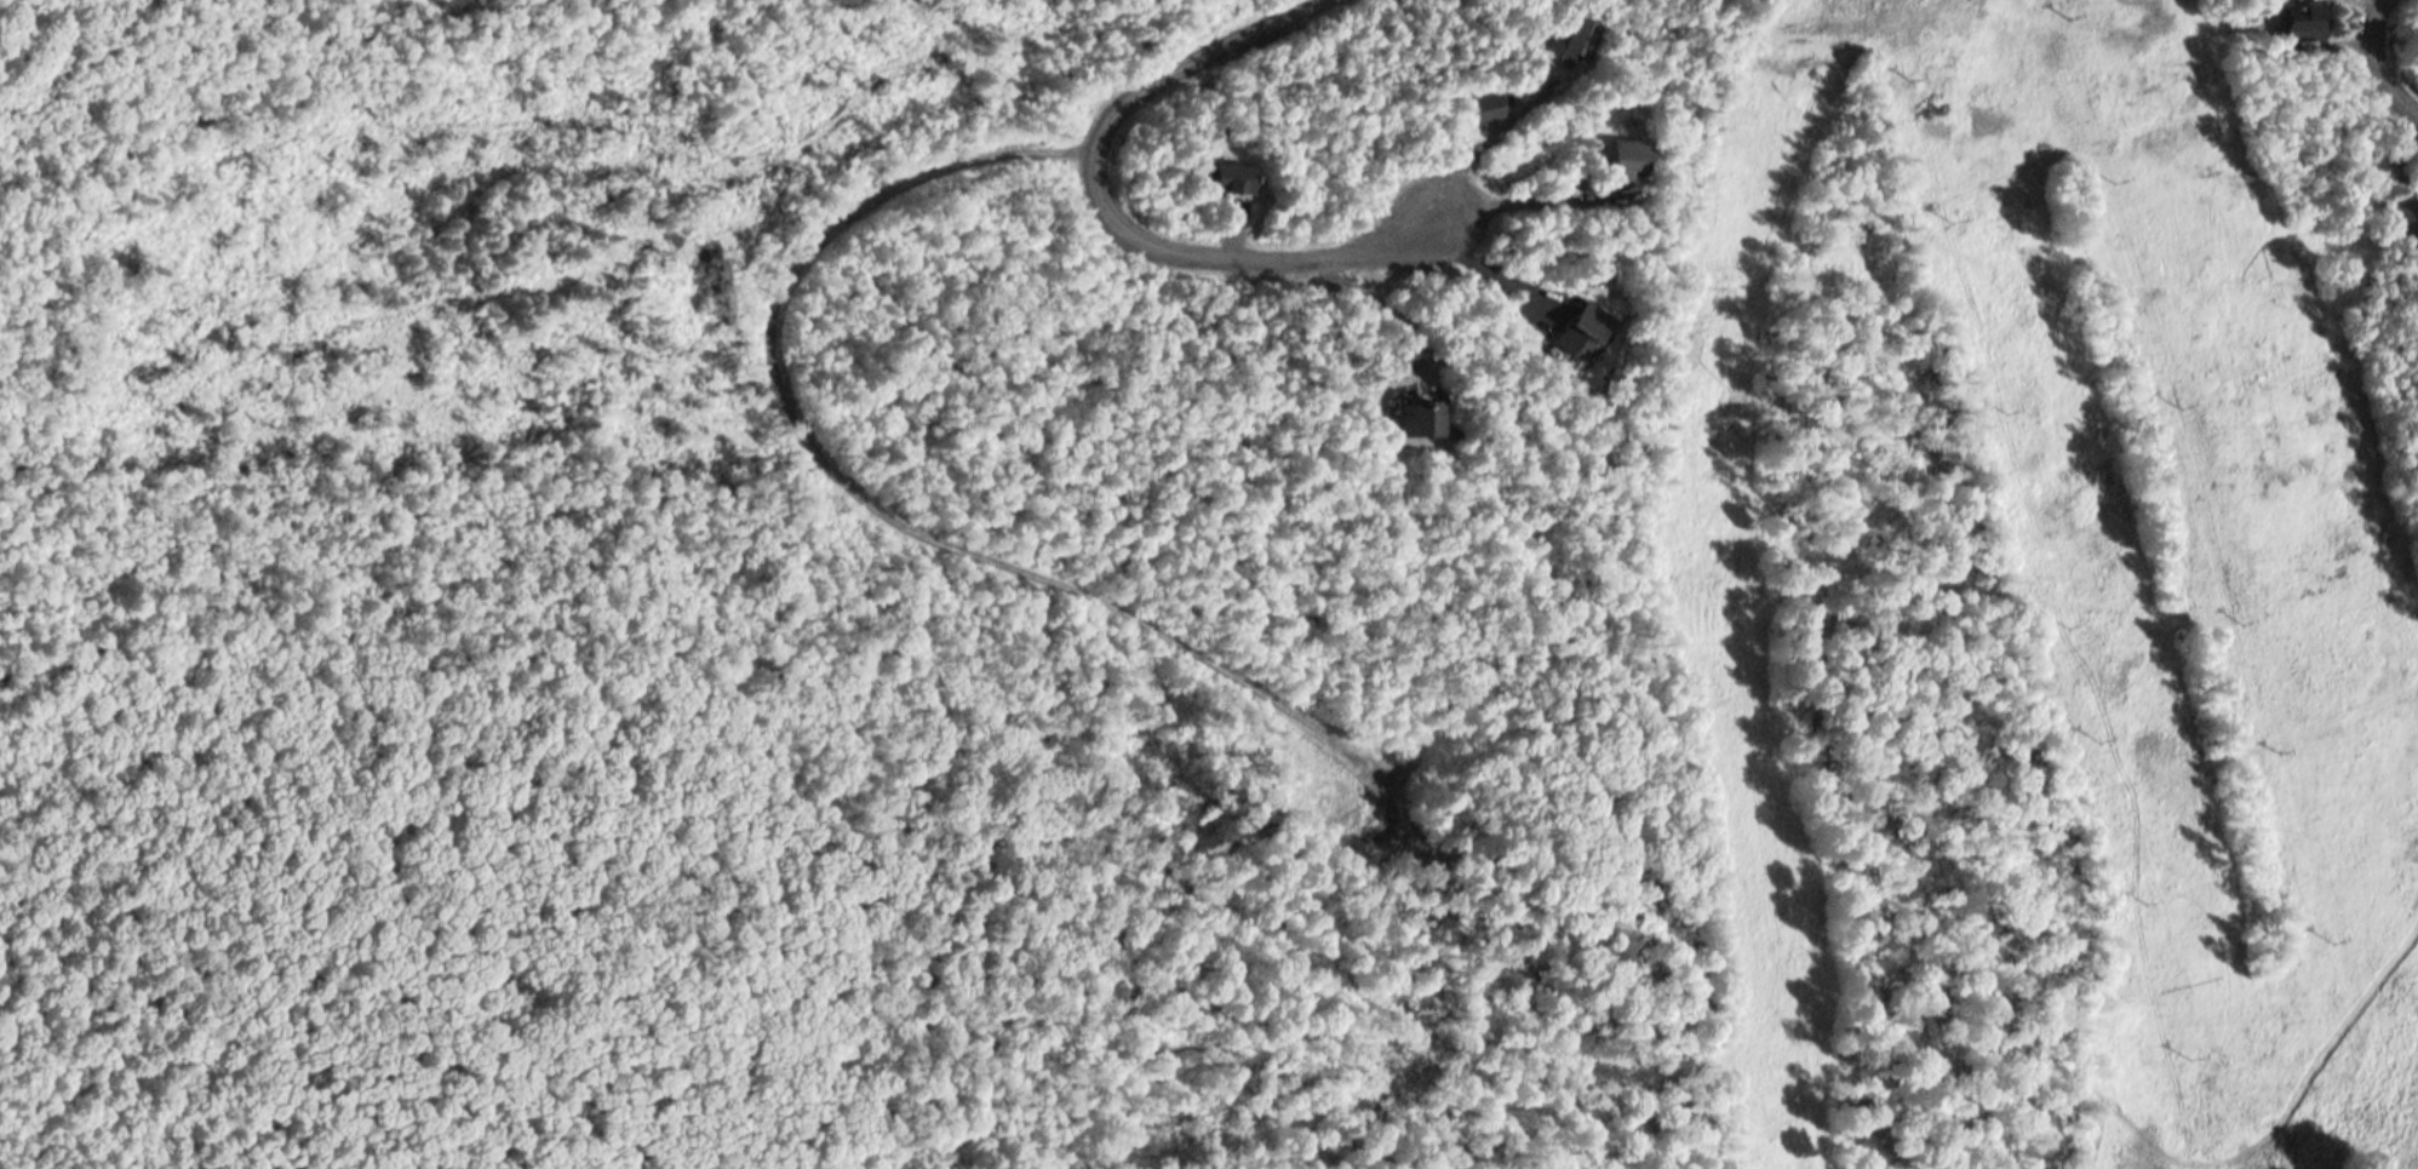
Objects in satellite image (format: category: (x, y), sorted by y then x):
aerialway pylon: (2069, 19)
building: (2300, 27)
building: (1574, 40)
road: (2378, 57)
aerialway pylon: (1914, 81)
building: (1625, 164)
aerialway pylon: (2115, 180)
building: (1231, 183)
road: (1119, 213)
building: (2402, 219)
aerialway pylon: (1954, 220)
building: (1586, 331)
aerialway pylon: (2179, 408)
aerialway pylon: (2007, 409)
building: (1420, 419)
road: (844, 479)
ski resort: (1915, 591)
aerialway pylon: (2240, 620)
aerialway pylon: (2069, 624)
aerialway pylon: (2102, 738)
aerialway pylon: (2276, 747)
aerialway pylon: (2331, 936)

